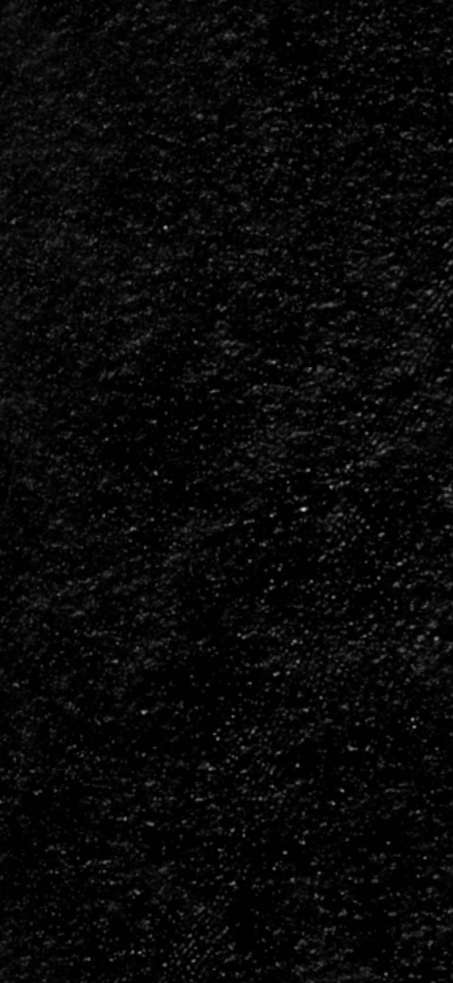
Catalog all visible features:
river: (421, 835)

